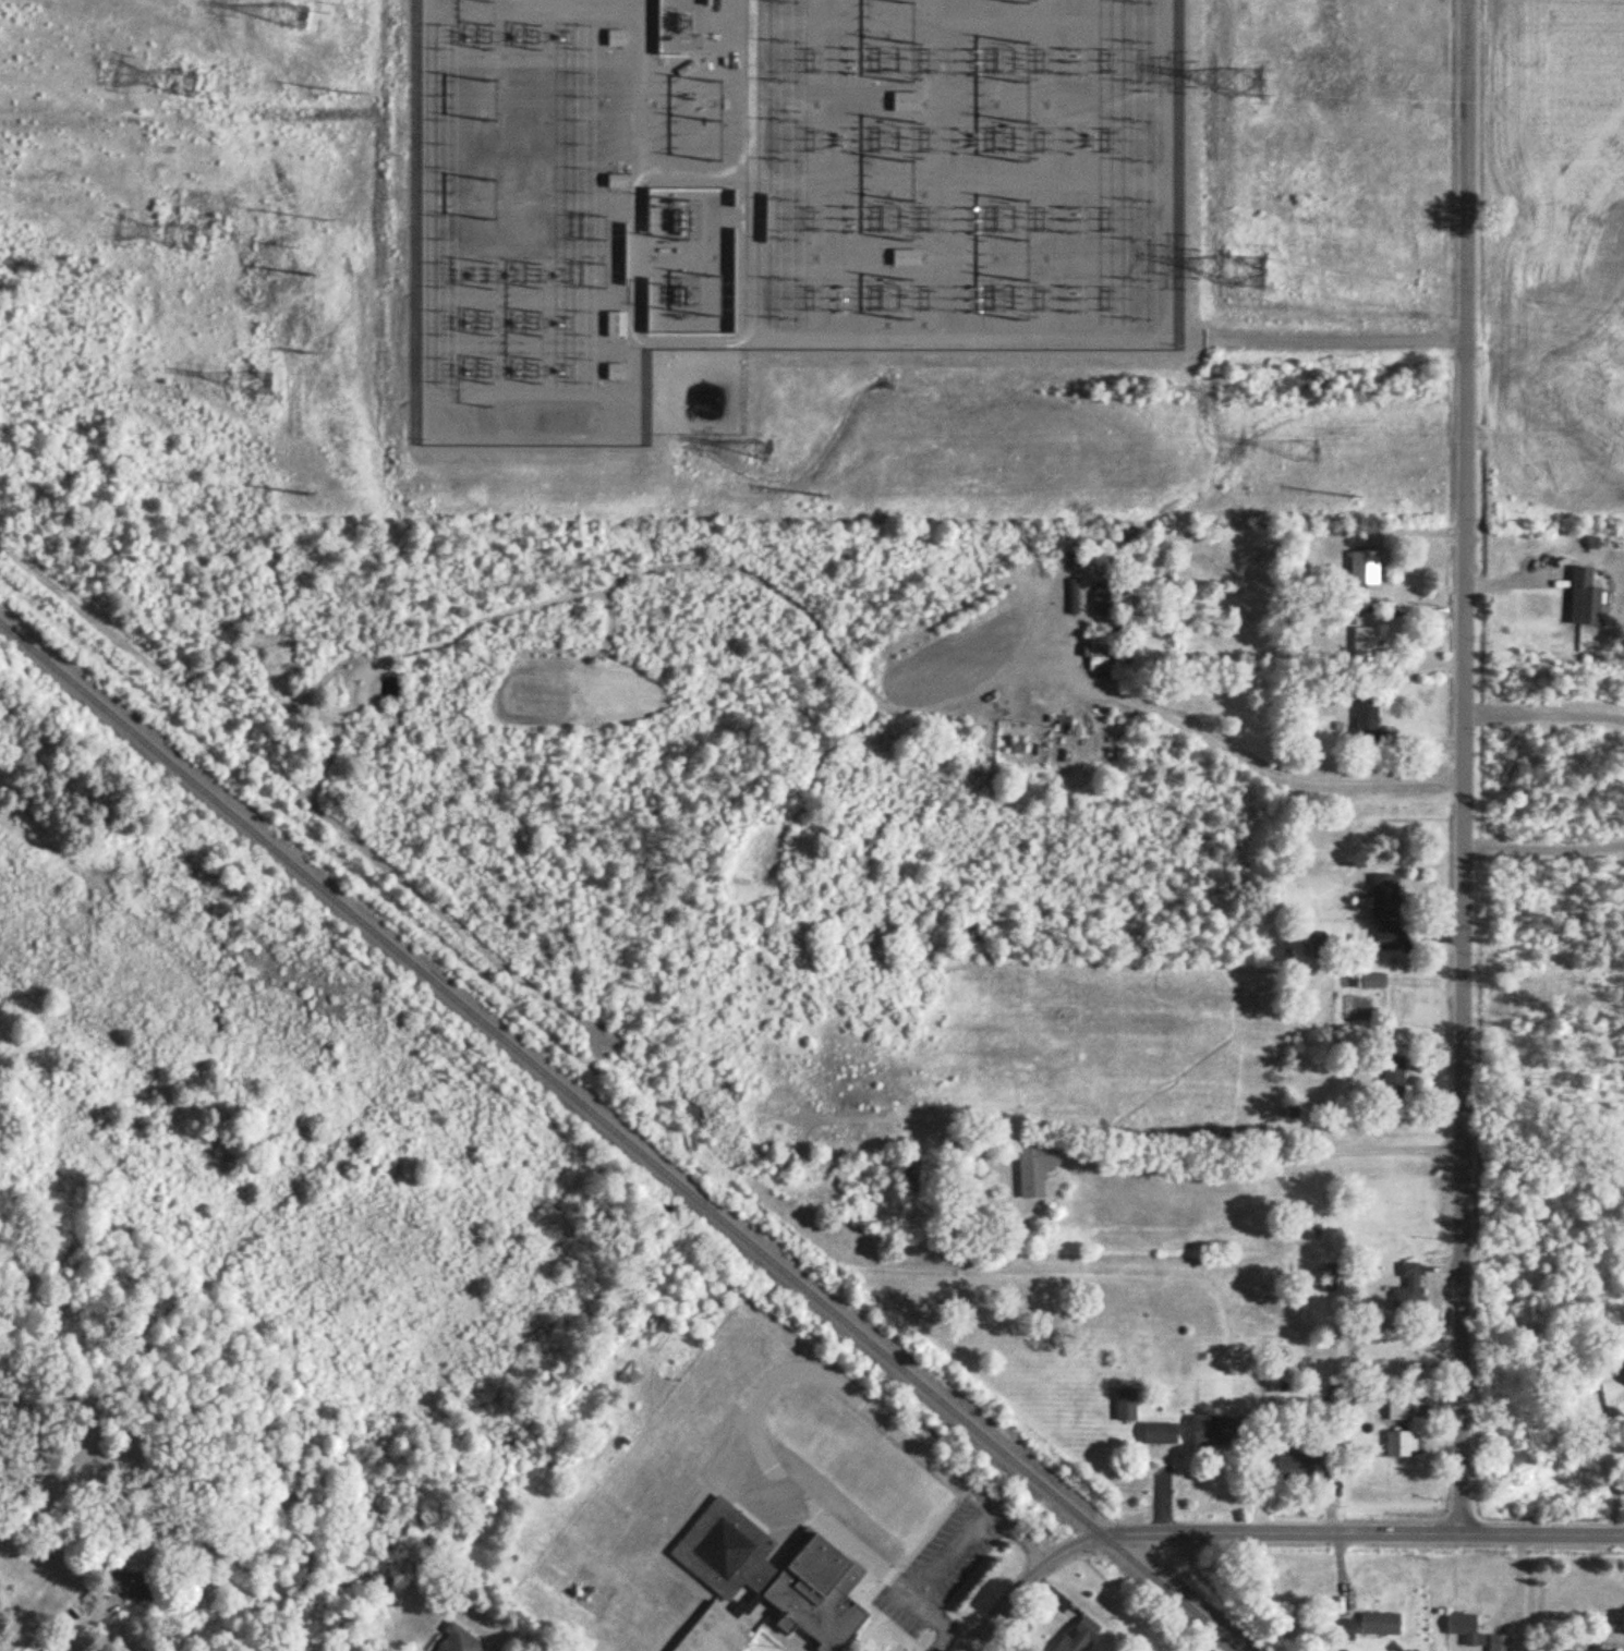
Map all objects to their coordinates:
power tower: (295, 19)
building: (681, 25)
building: (614, 37)
power tower: (184, 86)
power tower: (1244, 87)
power tower: (356, 96)
building: (905, 101)
building: (614, 181)
power substation: (779, 192)
power tower: (324, 219)
power tower: (603, 230)
power tower: (182, 240)
power tower: (287, 248)
building: (905, 258)
power tower: (308, 274)
power tower: (1247, 276)
power tower: (603, 277)
power tower: (537, 300)
building: (614, 324)
road: (796, 340)
road: (1323, 341)
power tower: (536, 349)
power tower: (308, 353)
building: (614, 372)
power tower: (263, 383)
power tower: (1307, 453)
power tower: (764, 454)
power tower: (308, 496)
power tower: (821, 497)
power tower: (1350, 498)
building: (1599, 542)
building: (1260, 556)
building: (1364, 567)
building: (1584, 598)
building: (1064, 602)
building: (1104, 604)
building: (1125, 641)
building: (1366, 643)
road: (1544, 715)
building: (1367, 719)
road: (1232, 751)
road: (1466, 767)
road: (1544, 847)
building: (1387, 911)
building: (1373, 980)
building: (1394, 1082)
railway: (621, 1136)
building: (789, 1162)
building: (1035, 1169)
building: (1332, 1278)
building: (1410, 1288)
road: (764, 1384)
building: (1126, 1405)
building: (1398, 1410)
building: (1213, 1432)
building: (1160, 1433)
building: (1402, 1444)
building: (1297, 1469)
road: (1273, 1534)
road: (952, 1553)
parking lot: (937, 1568)
building: (764, 1582)
building: (124, 1583)
building: (1380, 1624)
building: (1466, 1629)
building: (1343, 1630)
road: (73, 1631)
building: (1077, 1636)
building: (456, 1641)
building: (1501, 1643)

